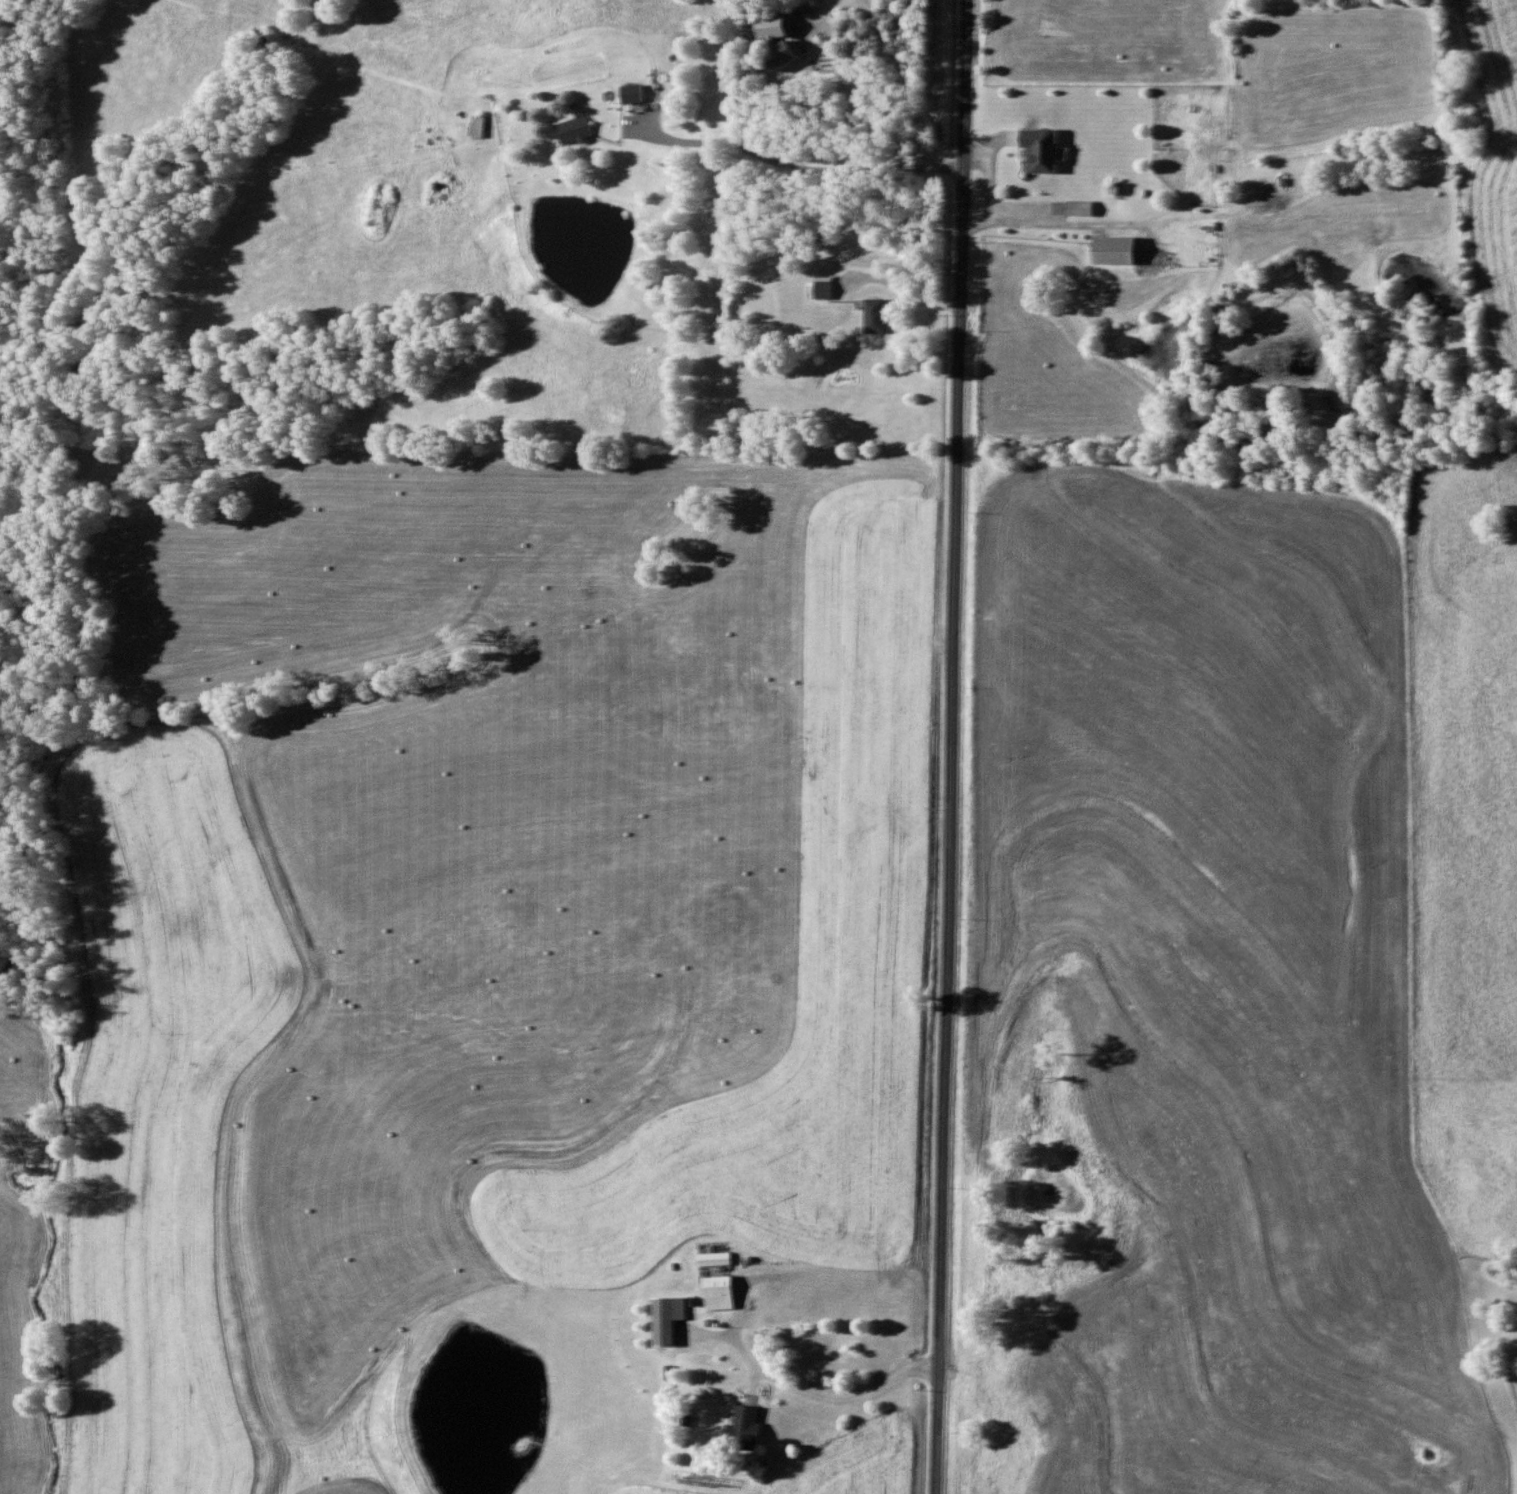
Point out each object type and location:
building: (784, 28)
road: (811, 52)
road: (911, 74)
building: (639, 94)
building: (485, 127)
building: (580, 131)
building: (1198, 137)
building: (1048, 151)
road: (794, 169)
building: (1088, 208)
road: (1058, 233)
building: (1127, 251)
building: (831, 290)
road: (910, 304)
building: (881, 316)
road: (955, 747)
road: (806, 866)
building: (722, 1259)
building: (729, 1293)
building: (676, 1319)
road: (800, 1381)
building: (753, 1425)

